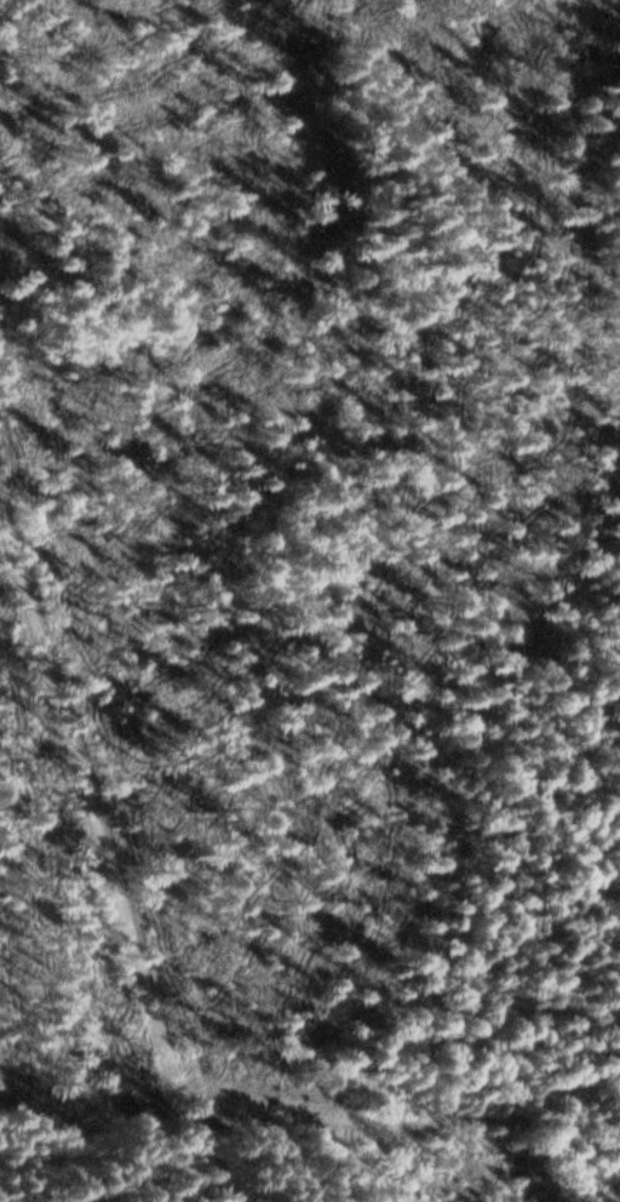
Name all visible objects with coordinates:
road: (110, 830)
road: (310, 1115)

